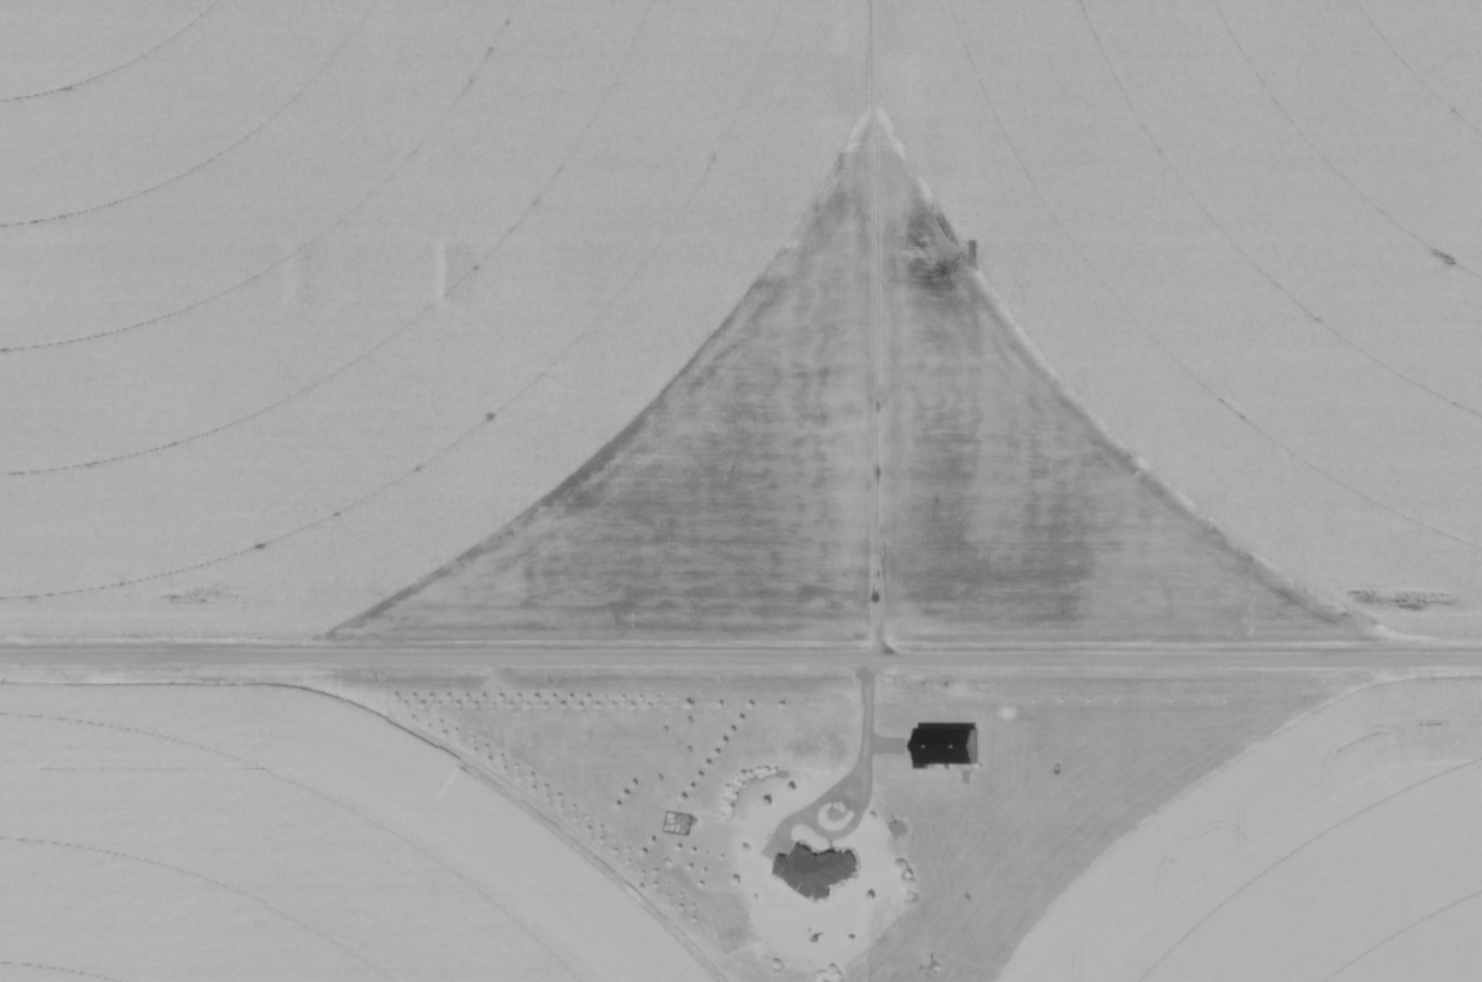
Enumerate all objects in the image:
road: (740, 658)

